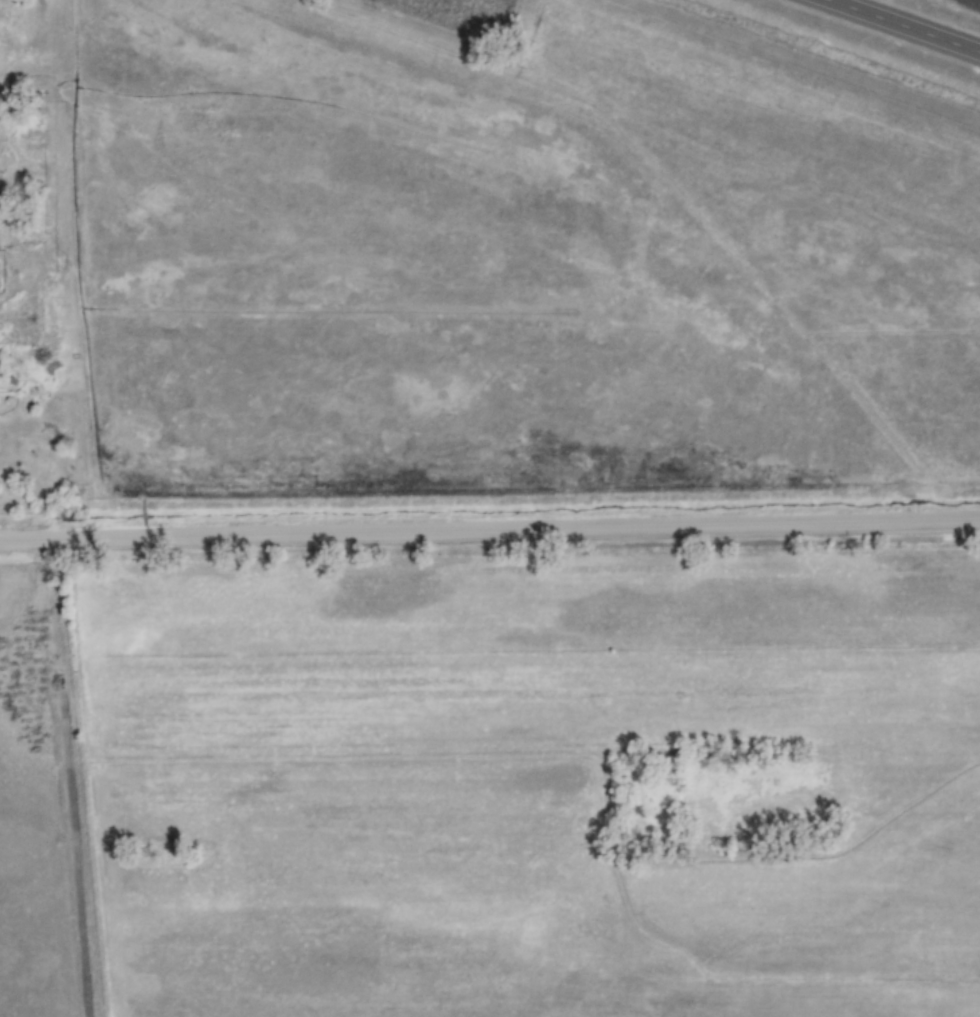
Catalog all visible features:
road: (906, 25)
road: (490, 528)

